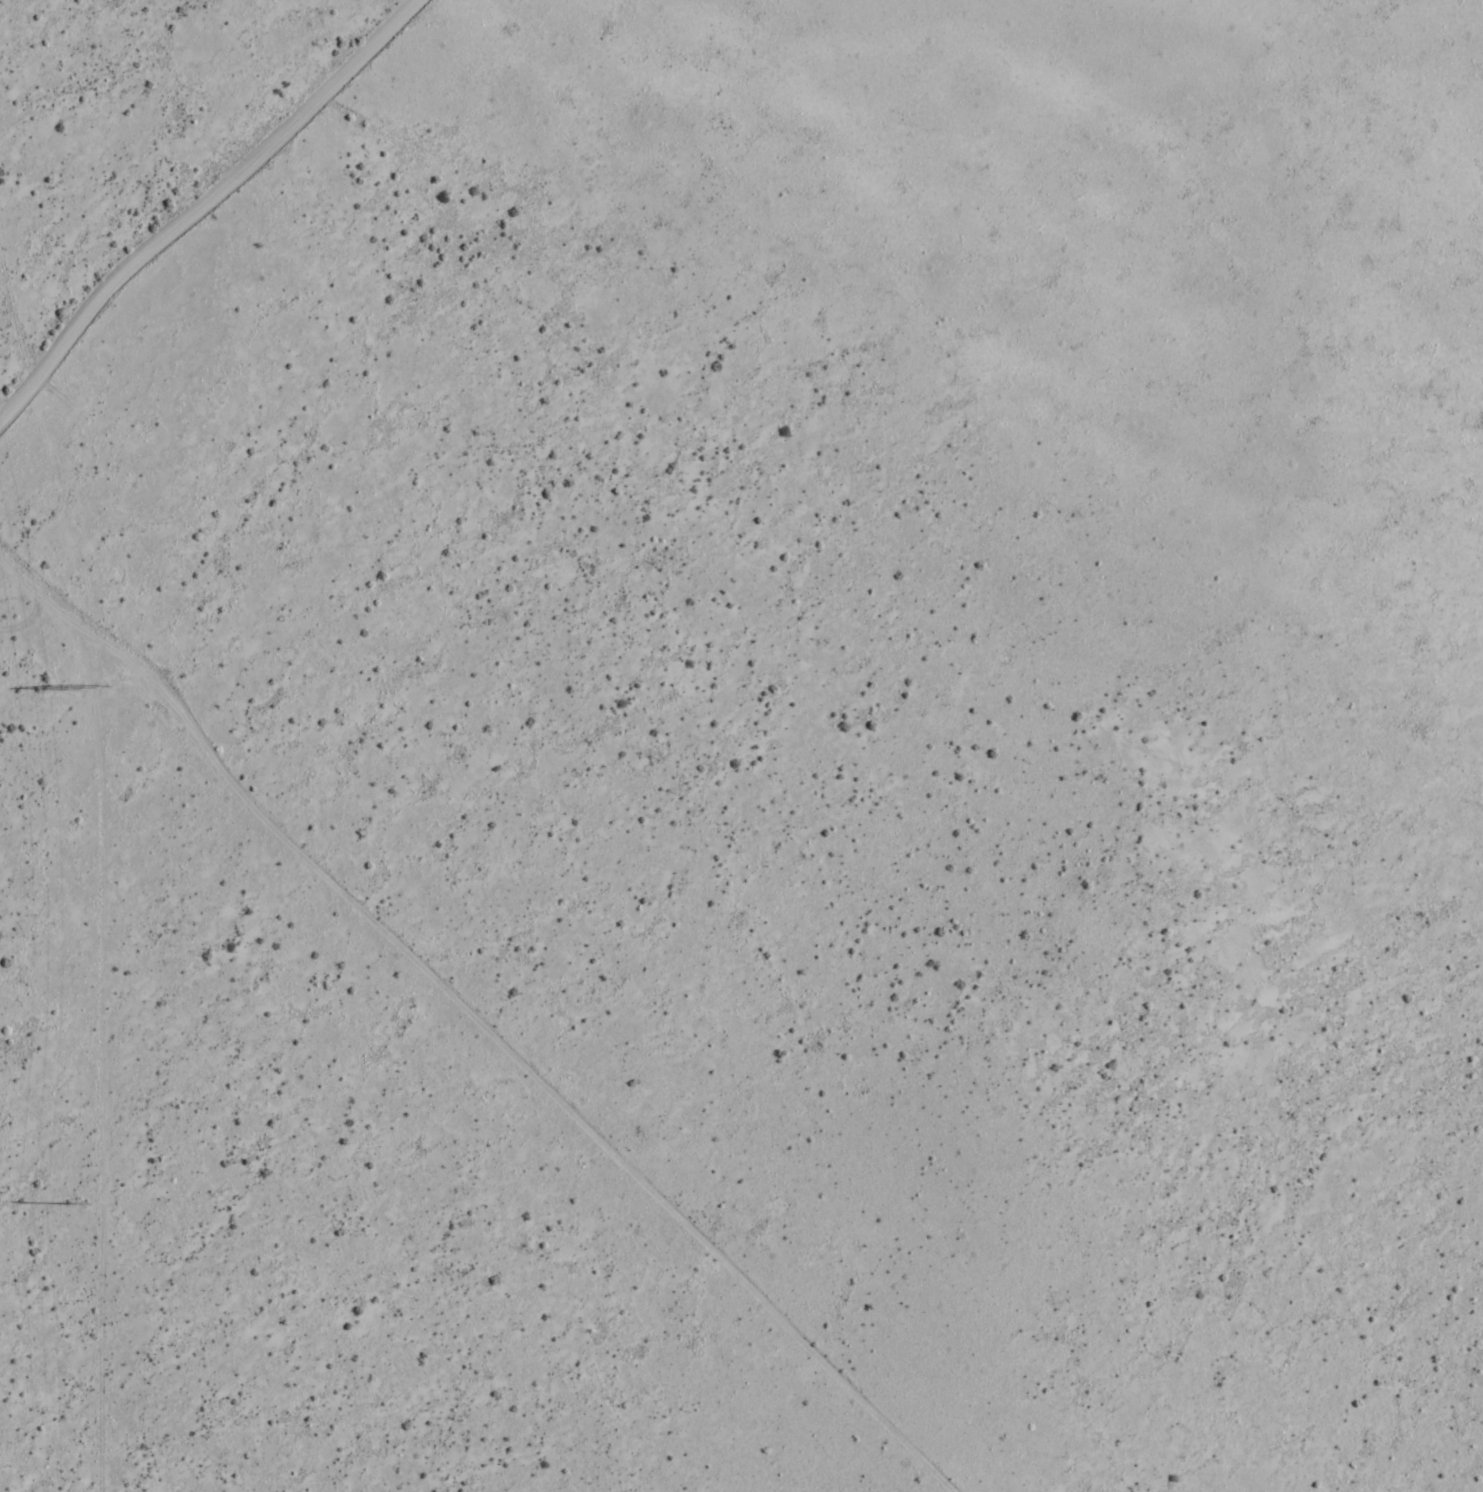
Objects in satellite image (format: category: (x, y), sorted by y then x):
road: (203, 205)
power tower: (64, 686)
road: (471, 1021)
power tower: (66, 1205)

